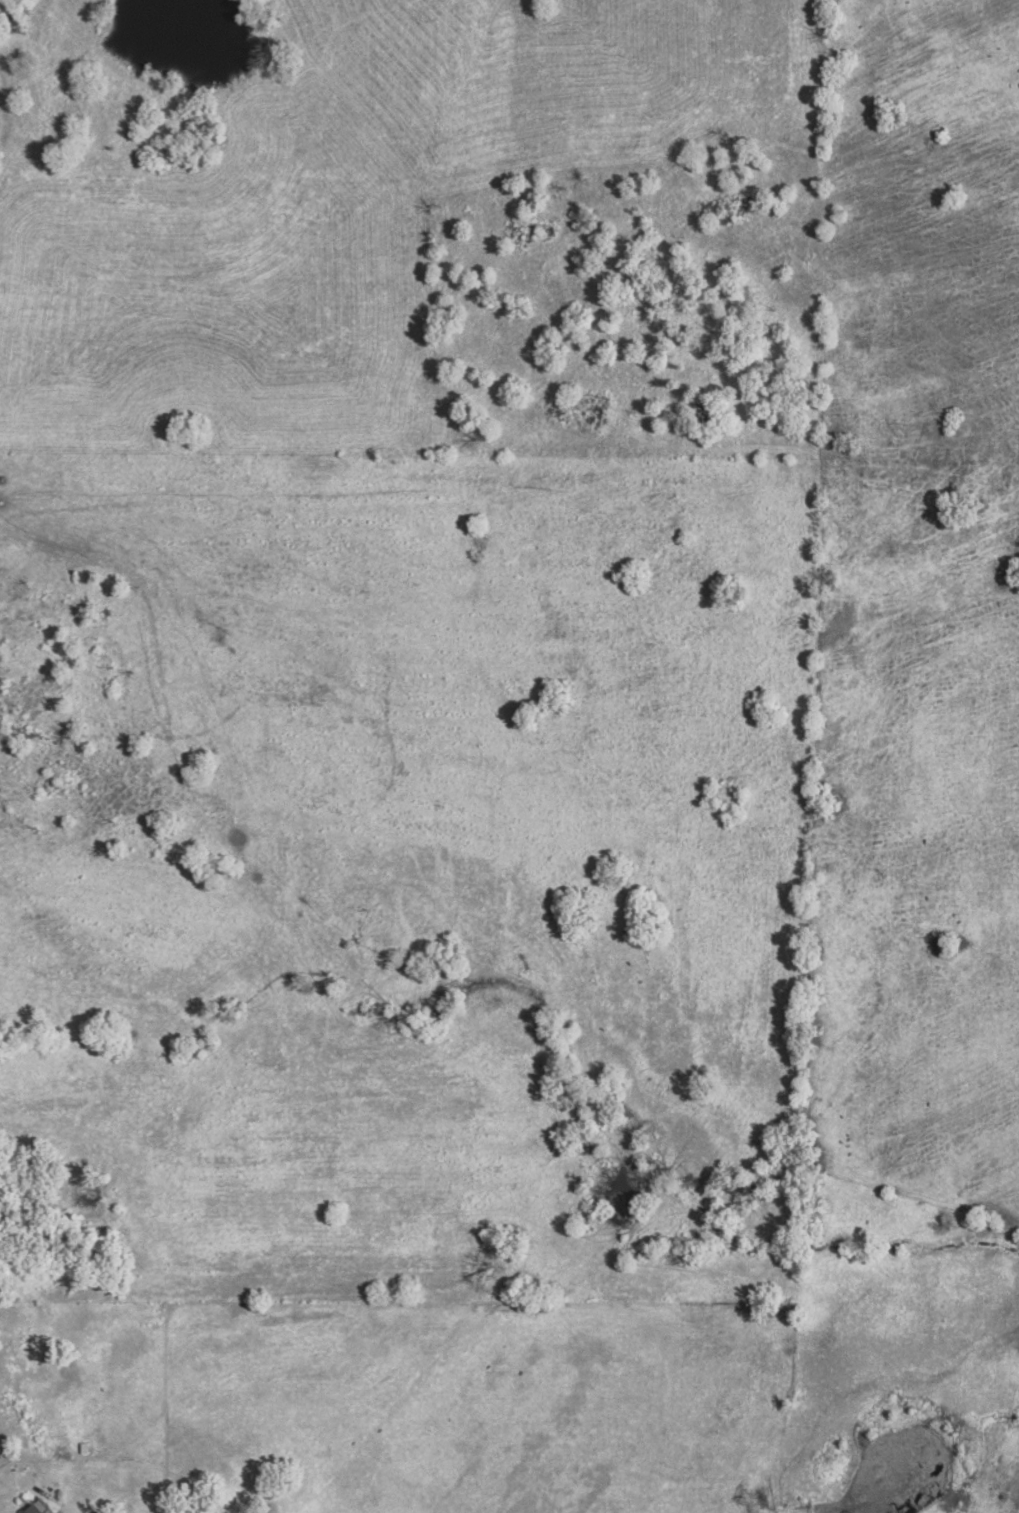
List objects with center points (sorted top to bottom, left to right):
building: (38, 1509)

